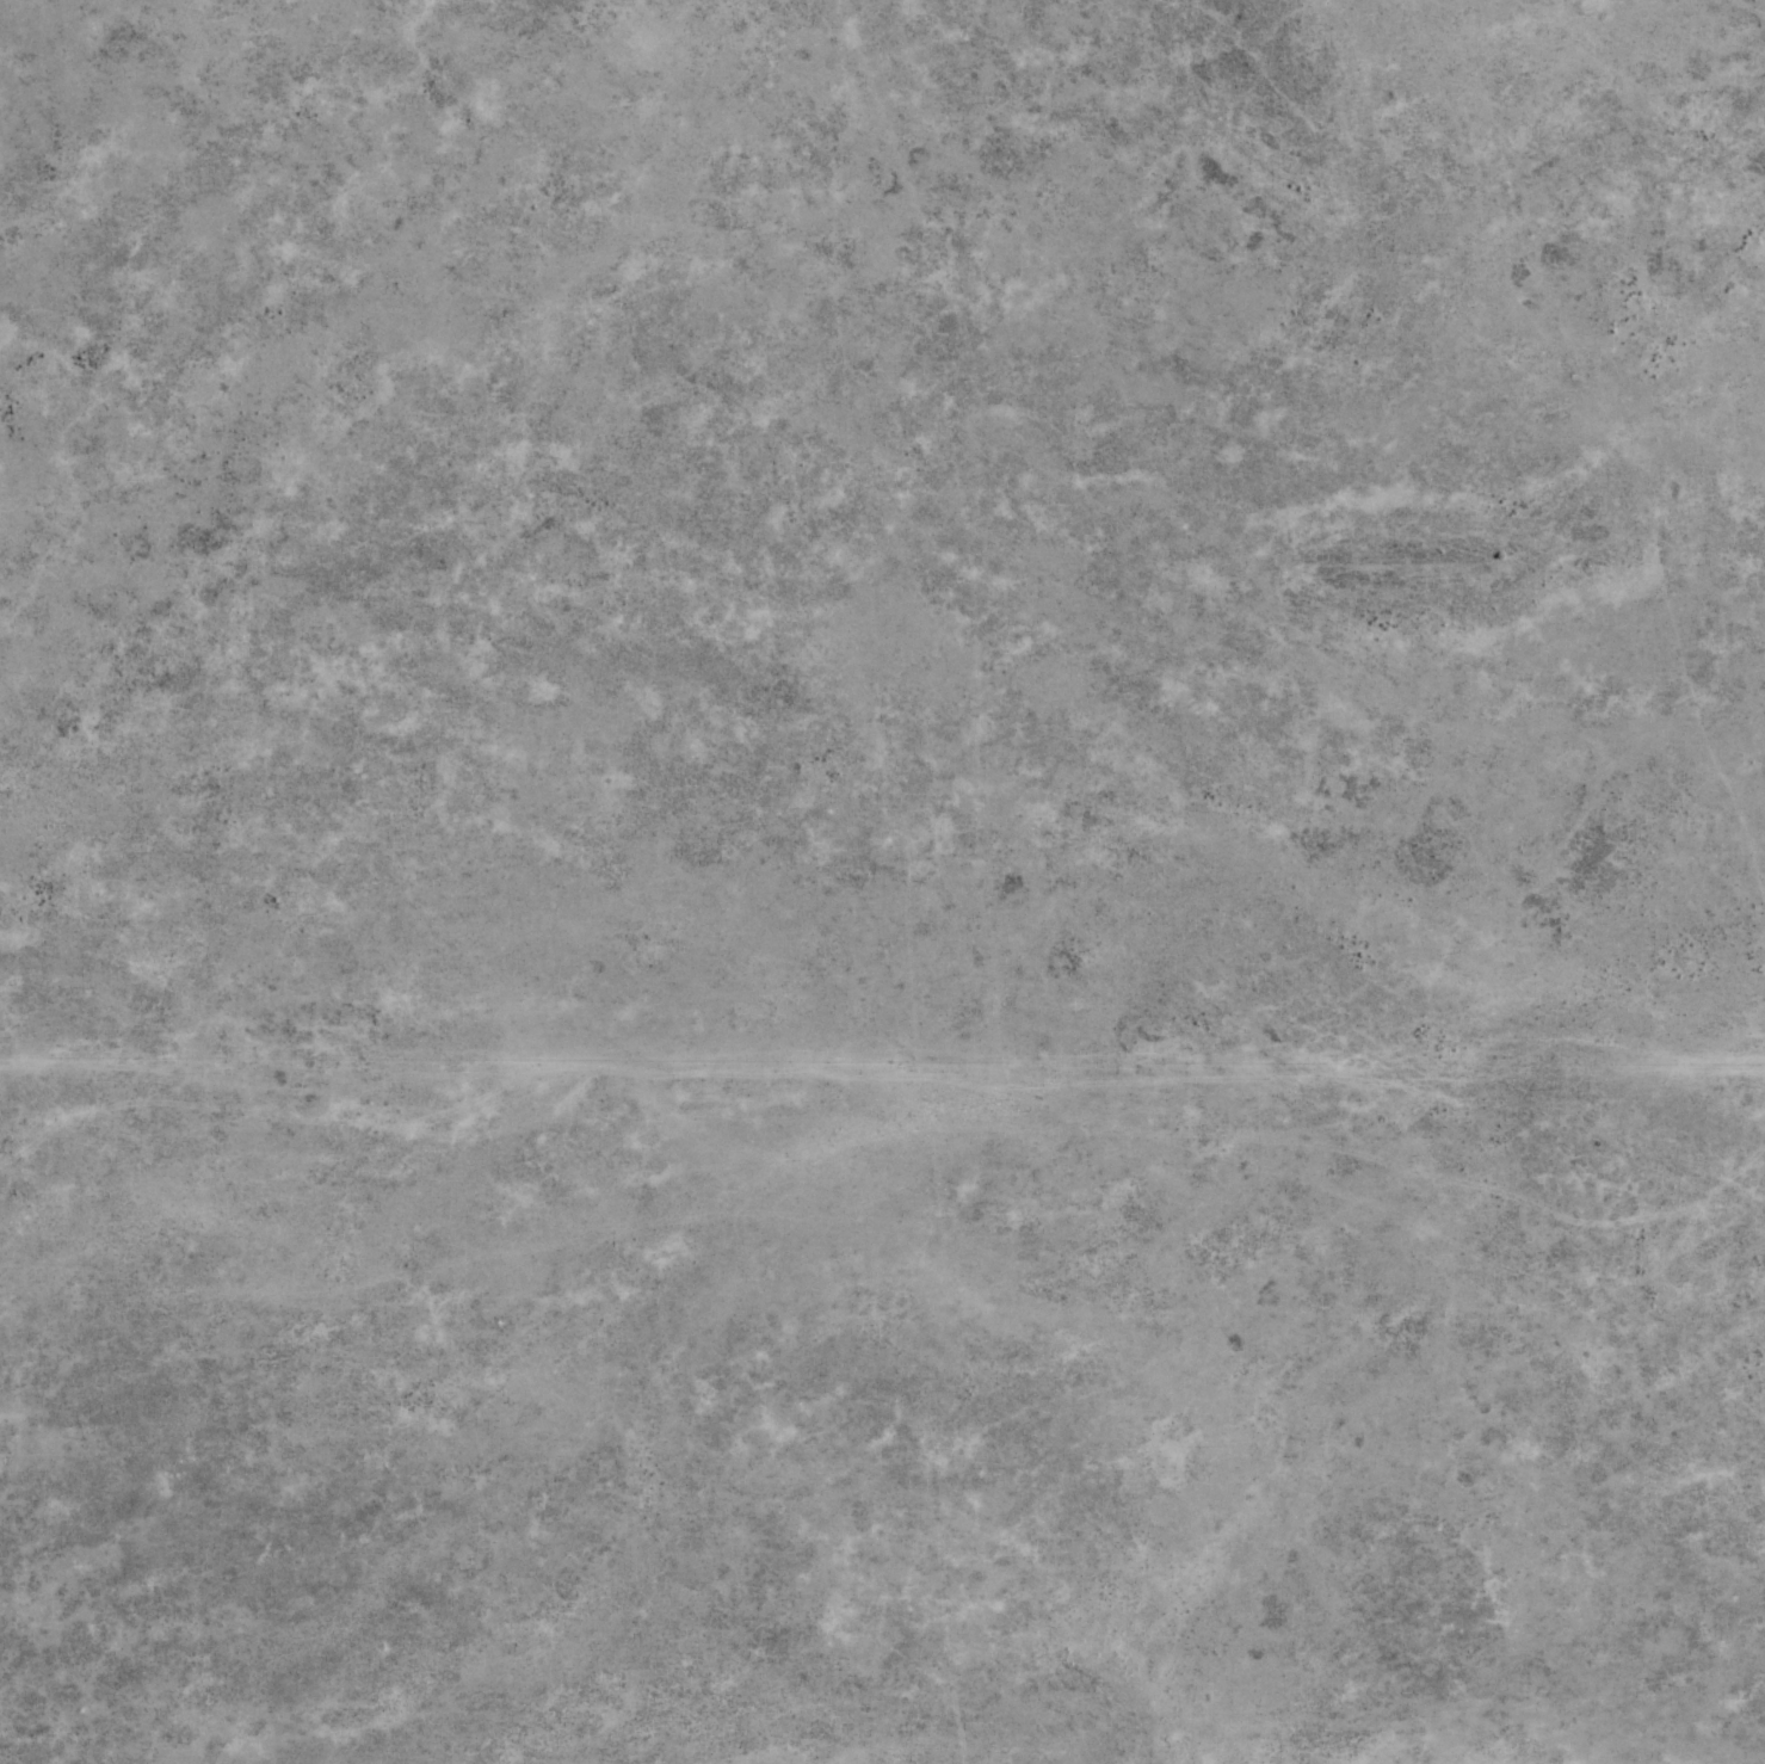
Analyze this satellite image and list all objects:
road: (1747, 14)

